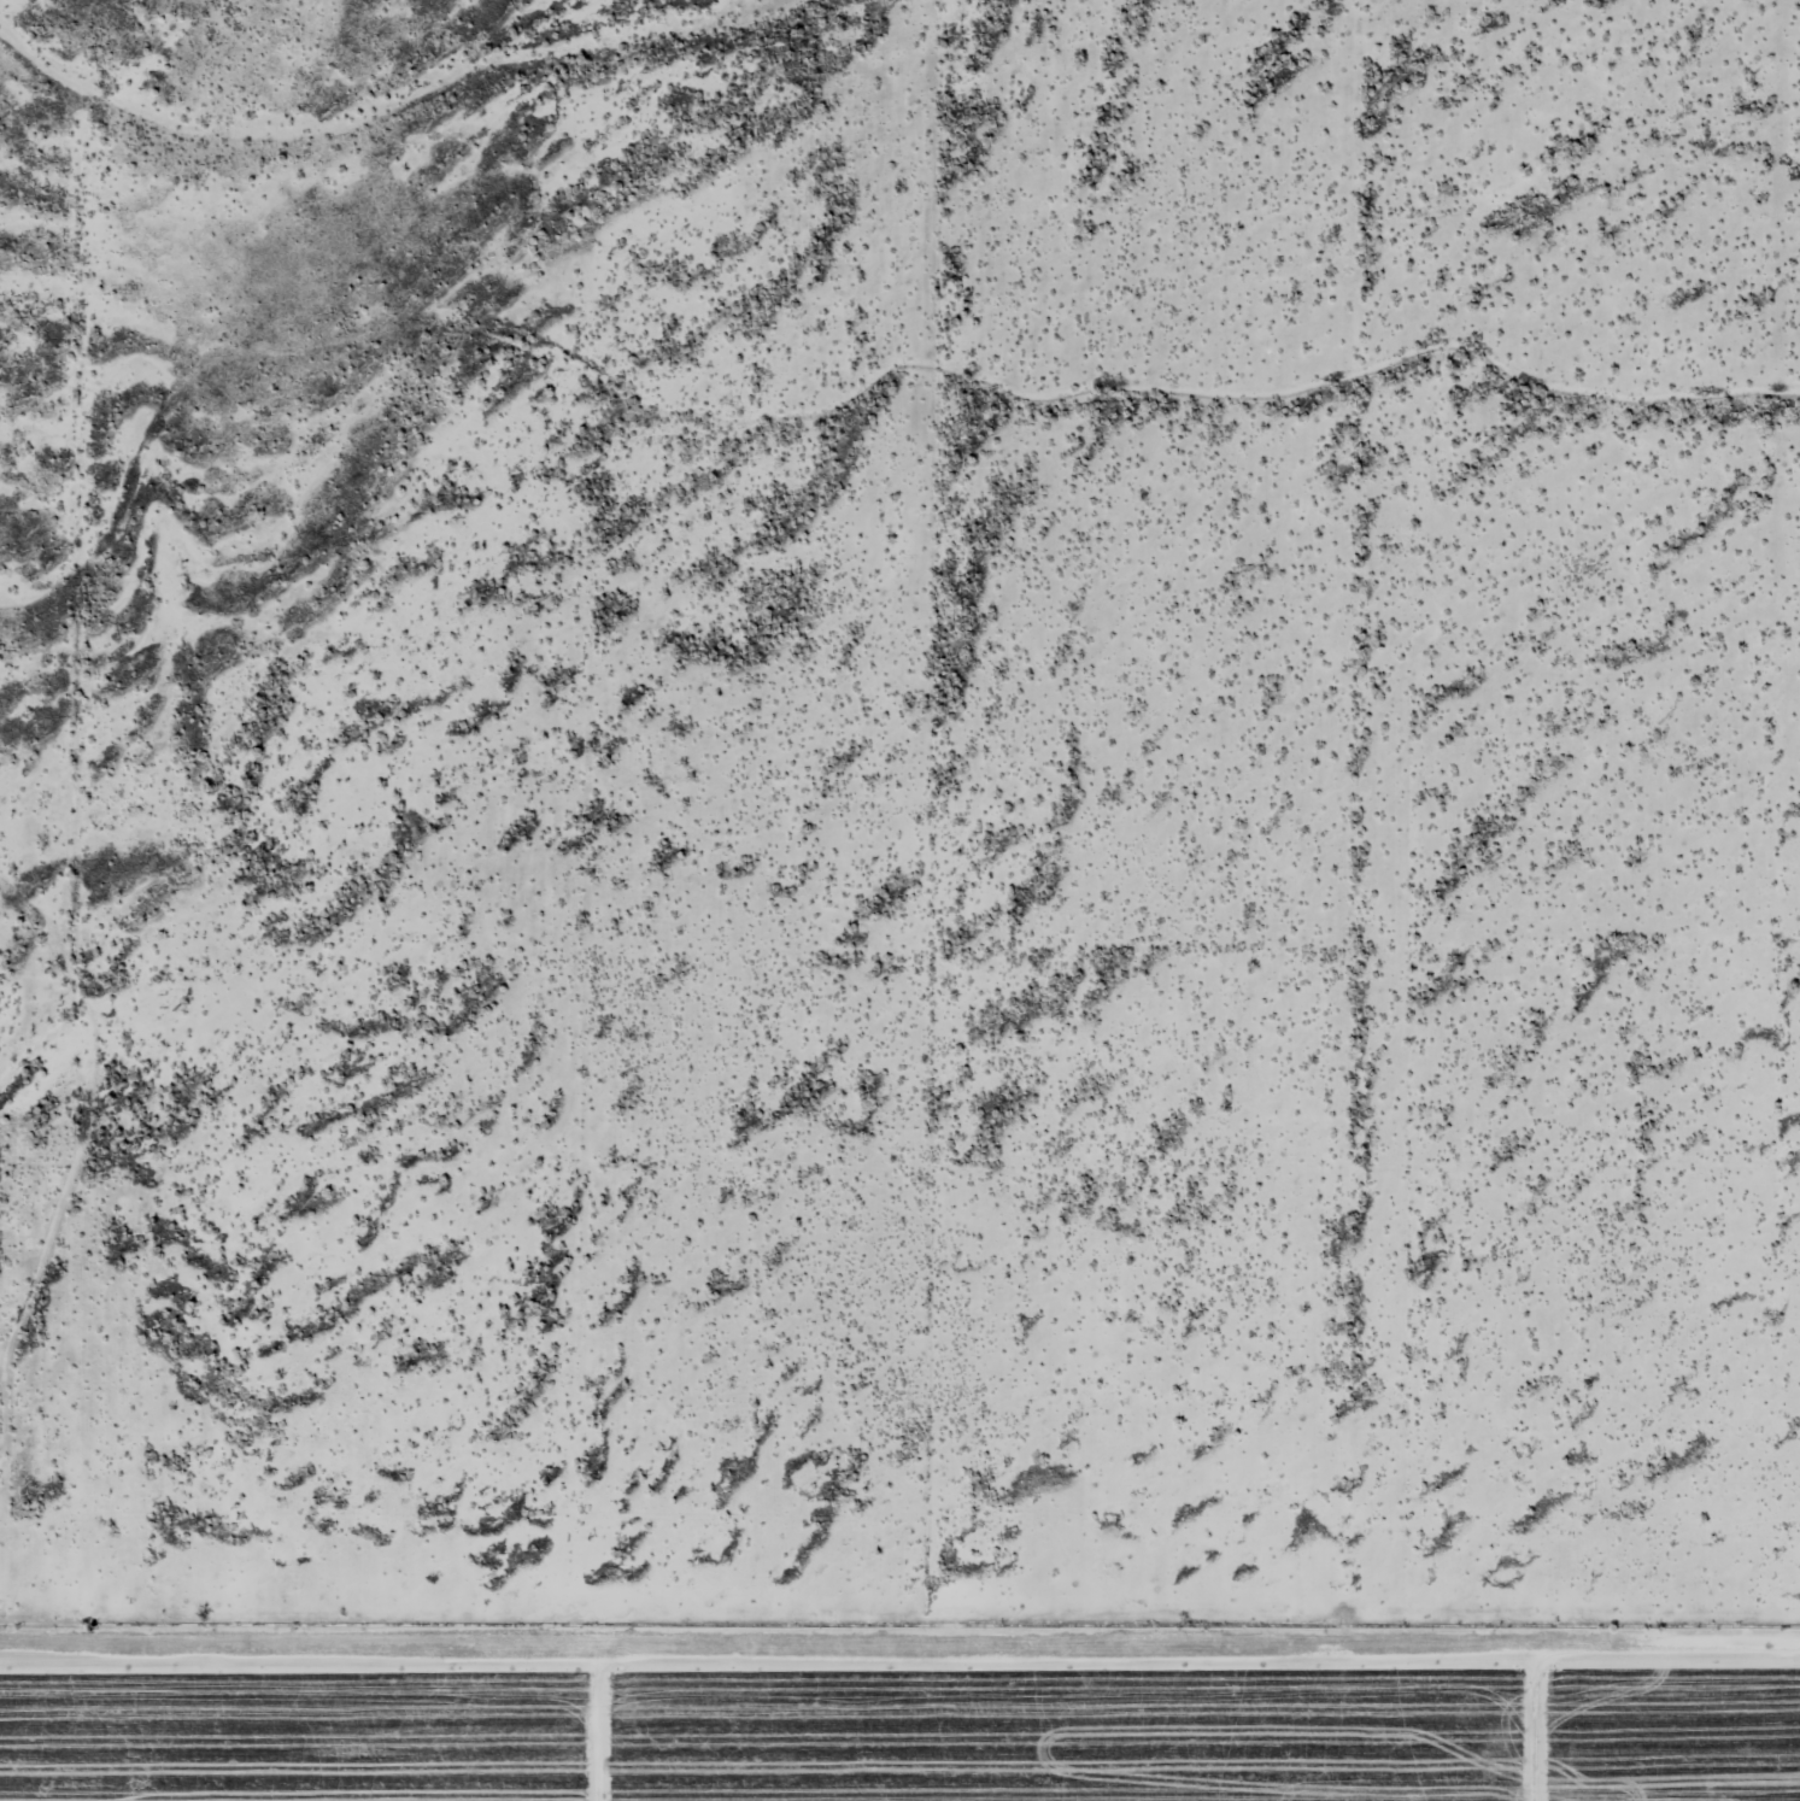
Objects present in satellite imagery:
road: (899, 1696)

